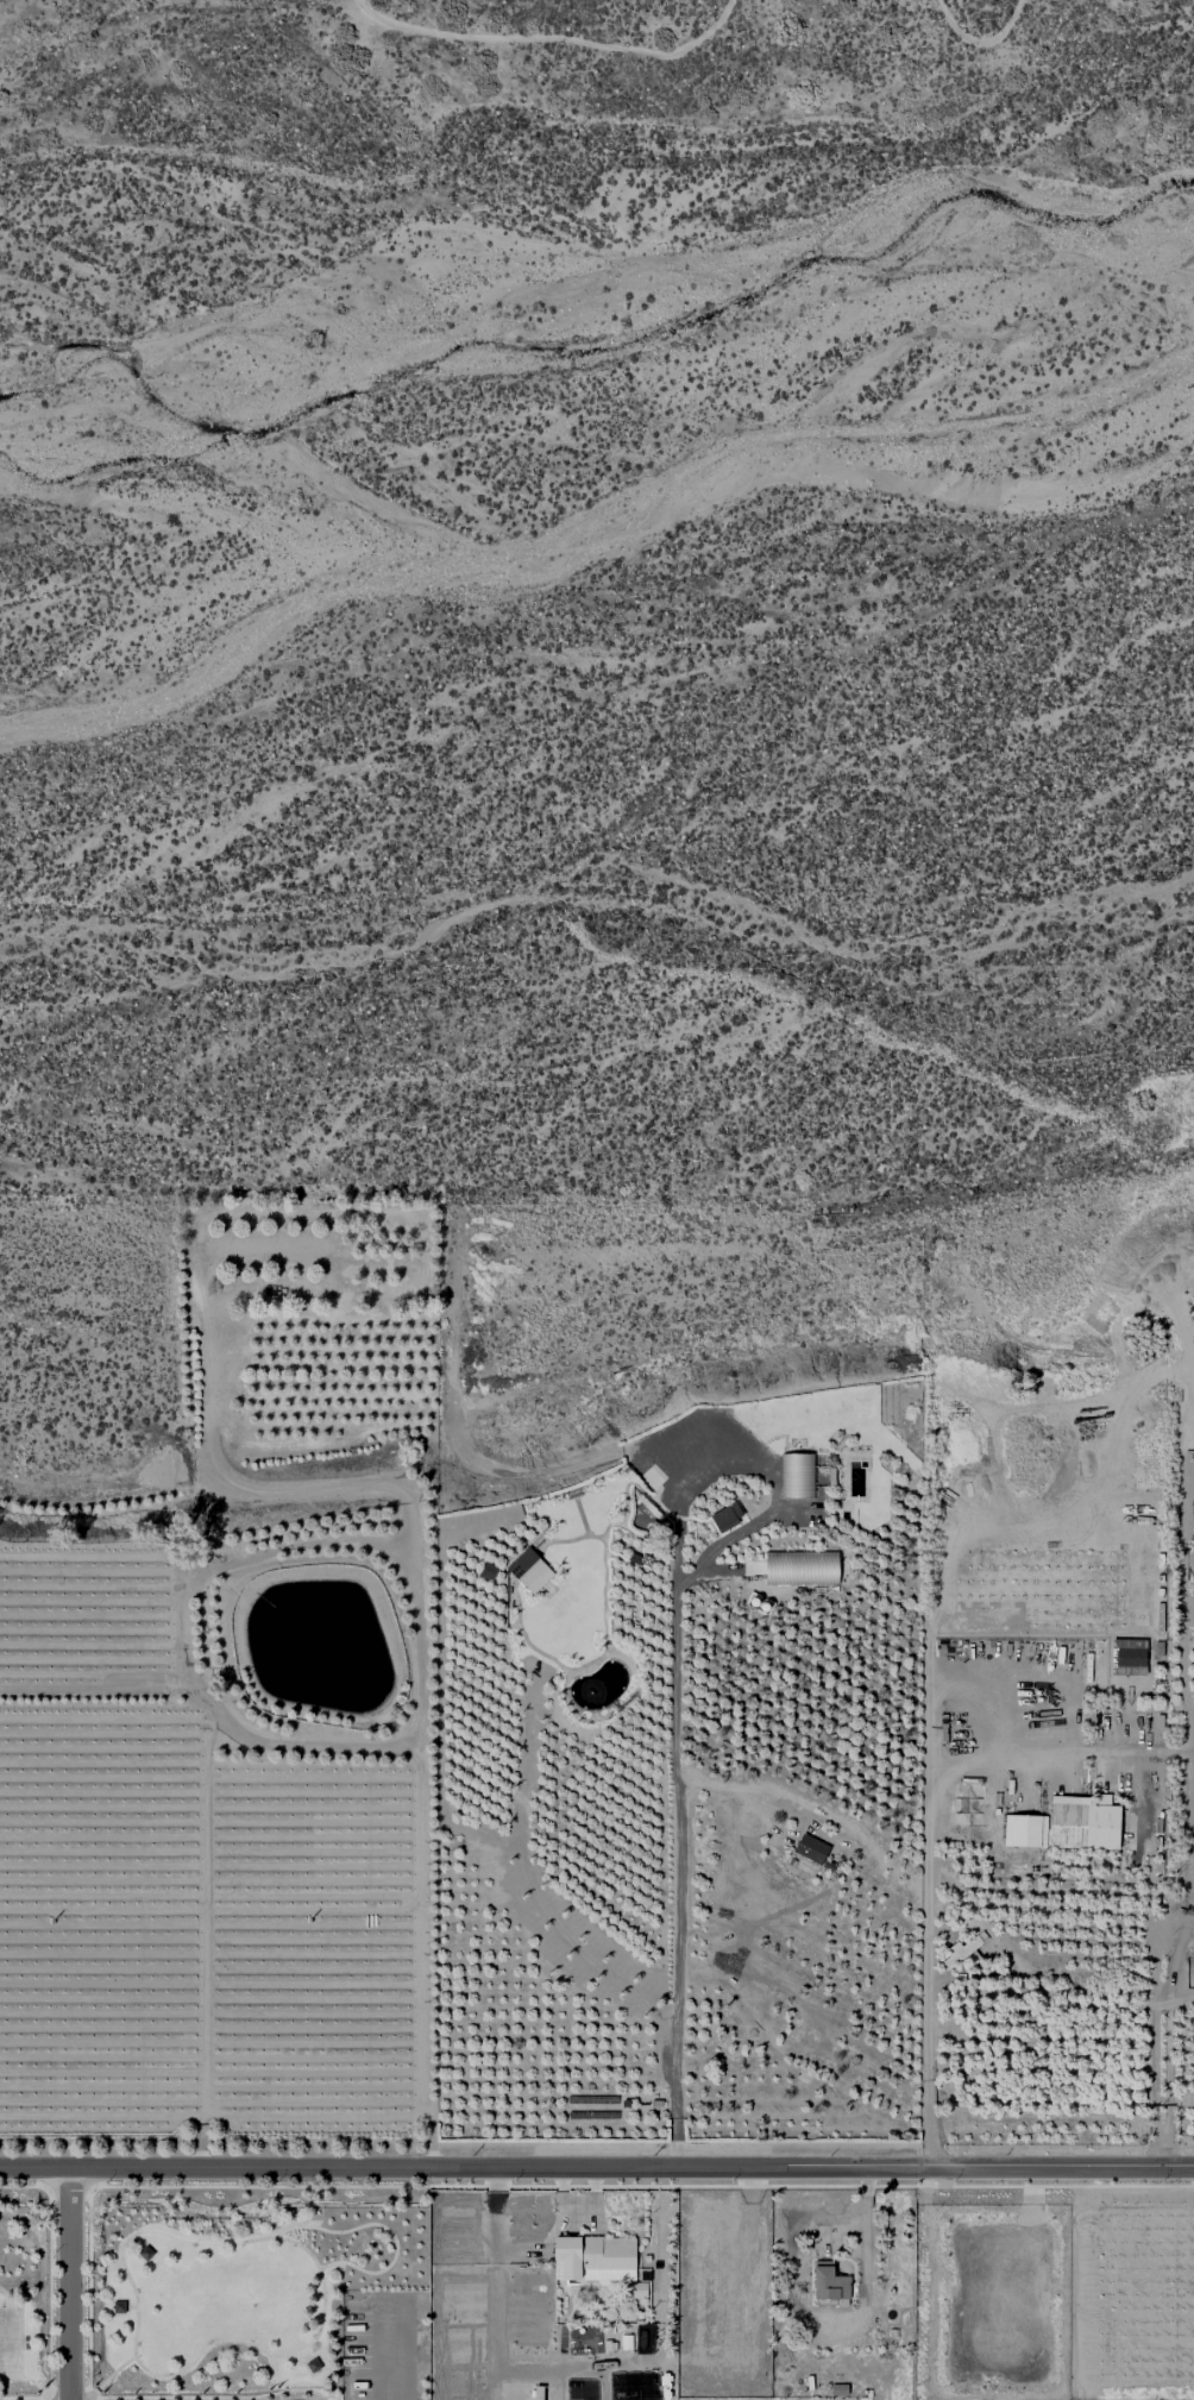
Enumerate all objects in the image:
road: (994, 32)
road: (563, 37)
river: (607, 535)
building: (796, 1475)
building: (723, 1514)
building: (878, 1531)
building: (799, 1569)
building: (529, 1570)
building: (488, 1571)
building: (750, 1600)
building: (761, 1606)
road: (417, 1653)
road: (672, 1694)
road: (1190, 1741)
building: (1085, 1823)
building: (1022, 1830)
road: (928, 1845)
building: (810, 1848)
road: (214, 1909)
road: (1177, 1950)
building: (956, 1954)
road: (1160, 2004)
road: (429, 2018)
road: (1160, 2098)
road: (196, 2137)
road: (1158, 2144)
road: (596, 2167)
road: (89, 2218)
road: (865, 2228)
road: (385, 2230)
road: (172, 2237)
road: (134, 2243)
building: (145, 2254)
building: (592, 2257)
building: (645, 2260)
road: (495, 2282)
road: (70, 2283)
park: (233, 2286)
building: (823, 2287)
building: (637, 2288)
road: (50, 2293)
park: (27, 2294)
building: (119, 2307)
road: (132, 2308)
building: (608, 2312)
building: (626, 2312)
building: (624, 2341)
park: (8, 2343)
road: (20, 2343)
parking lot: (376, 2345)
building: (608, 2345)
road: (395, 2351)
road: (306, 2355)
building: (313, 2366)
road: (117, 2370)
road: (536, 2373)
road: (270, 2375)
road: (31, 2381)
building: (837, 2383)
road: (605, 2385)
road: (96, 2390)
road: (42, 2392)
building: (861, 2399)

